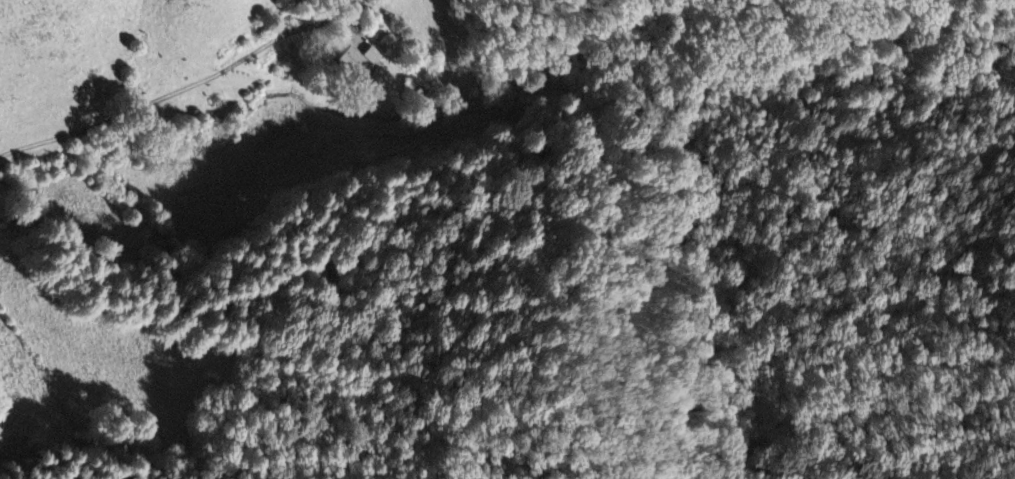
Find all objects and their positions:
road: (288, 32)
building: (374, 52)
building: (355, 61)
road: (111, 117)

